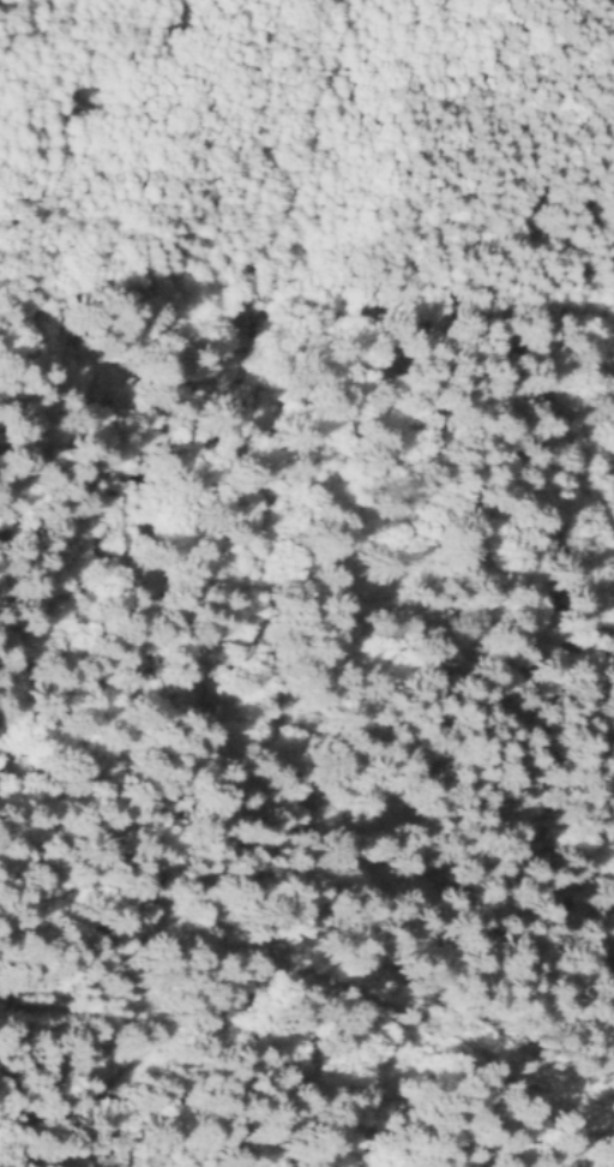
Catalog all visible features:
road: (205, 122)

